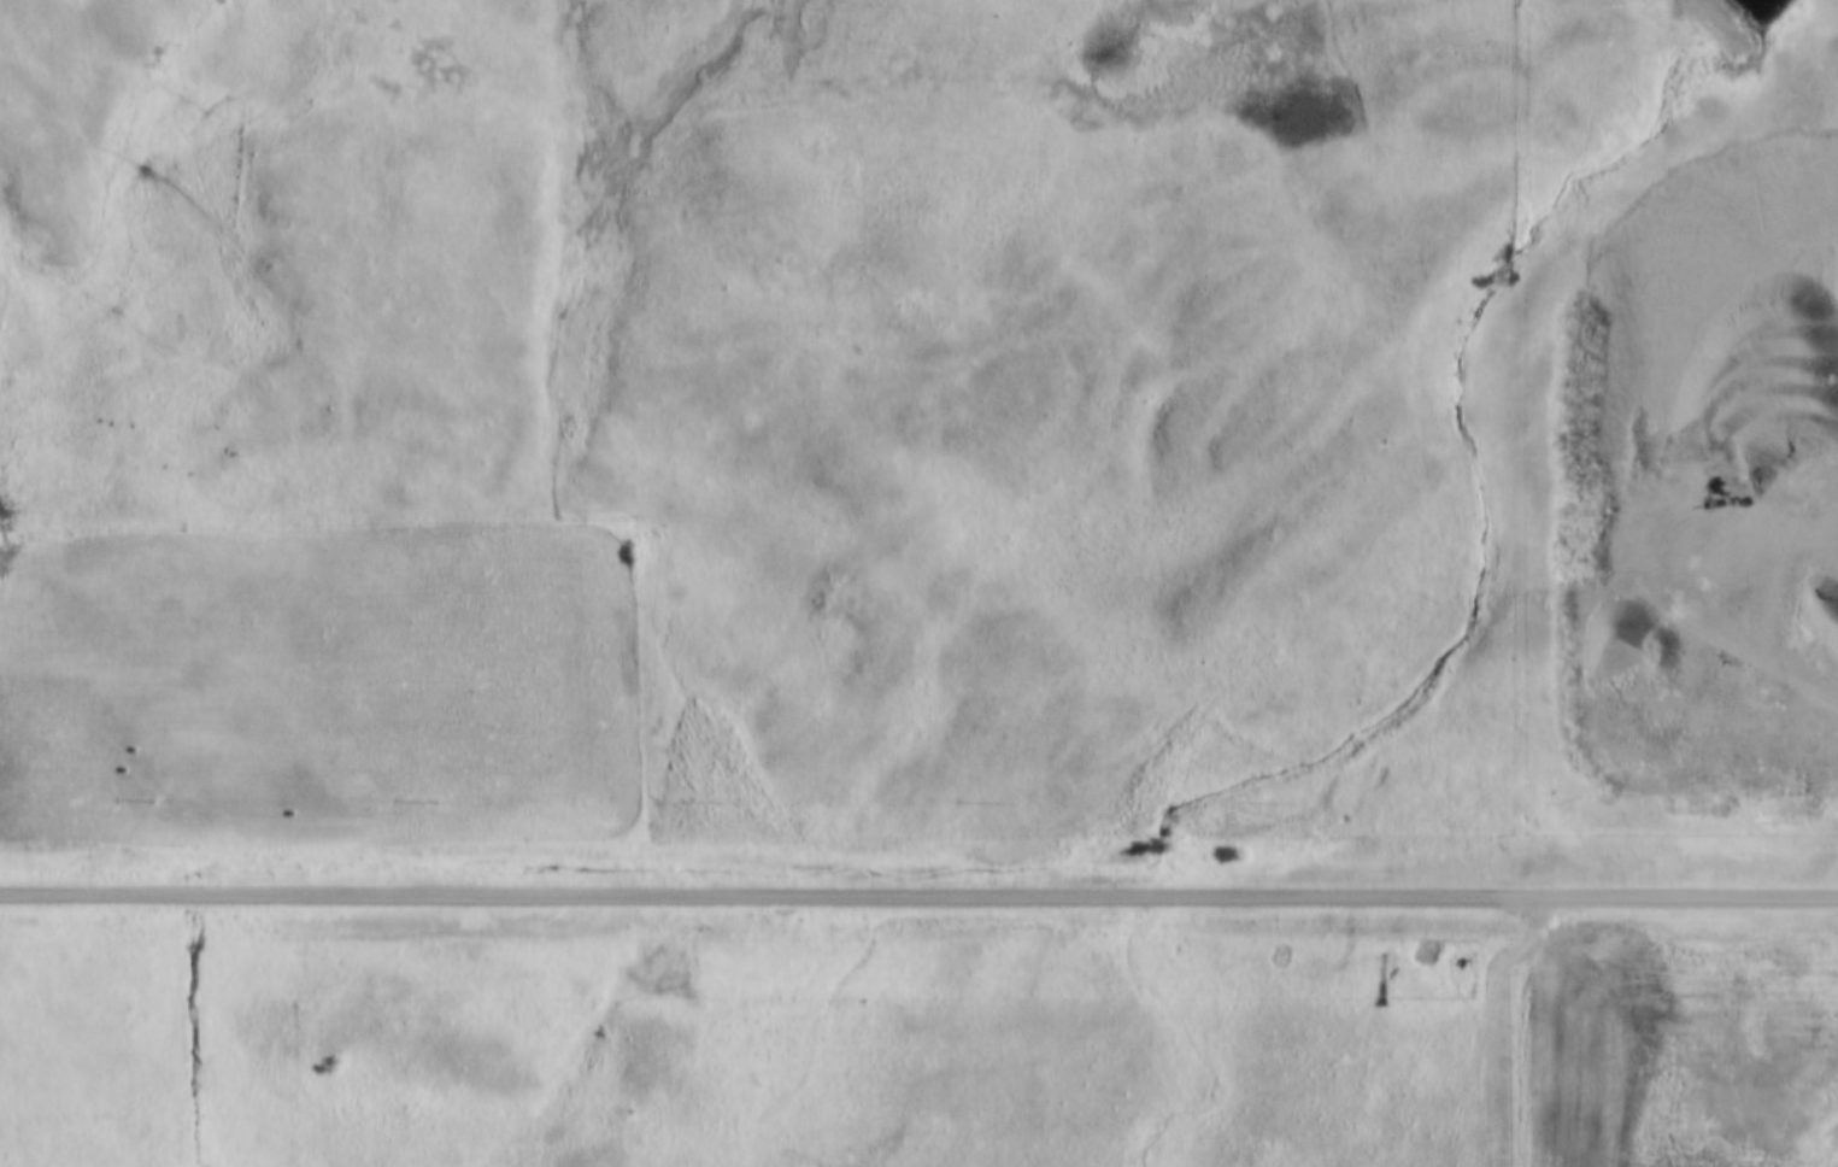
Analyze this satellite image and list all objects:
road: (918, 889)

